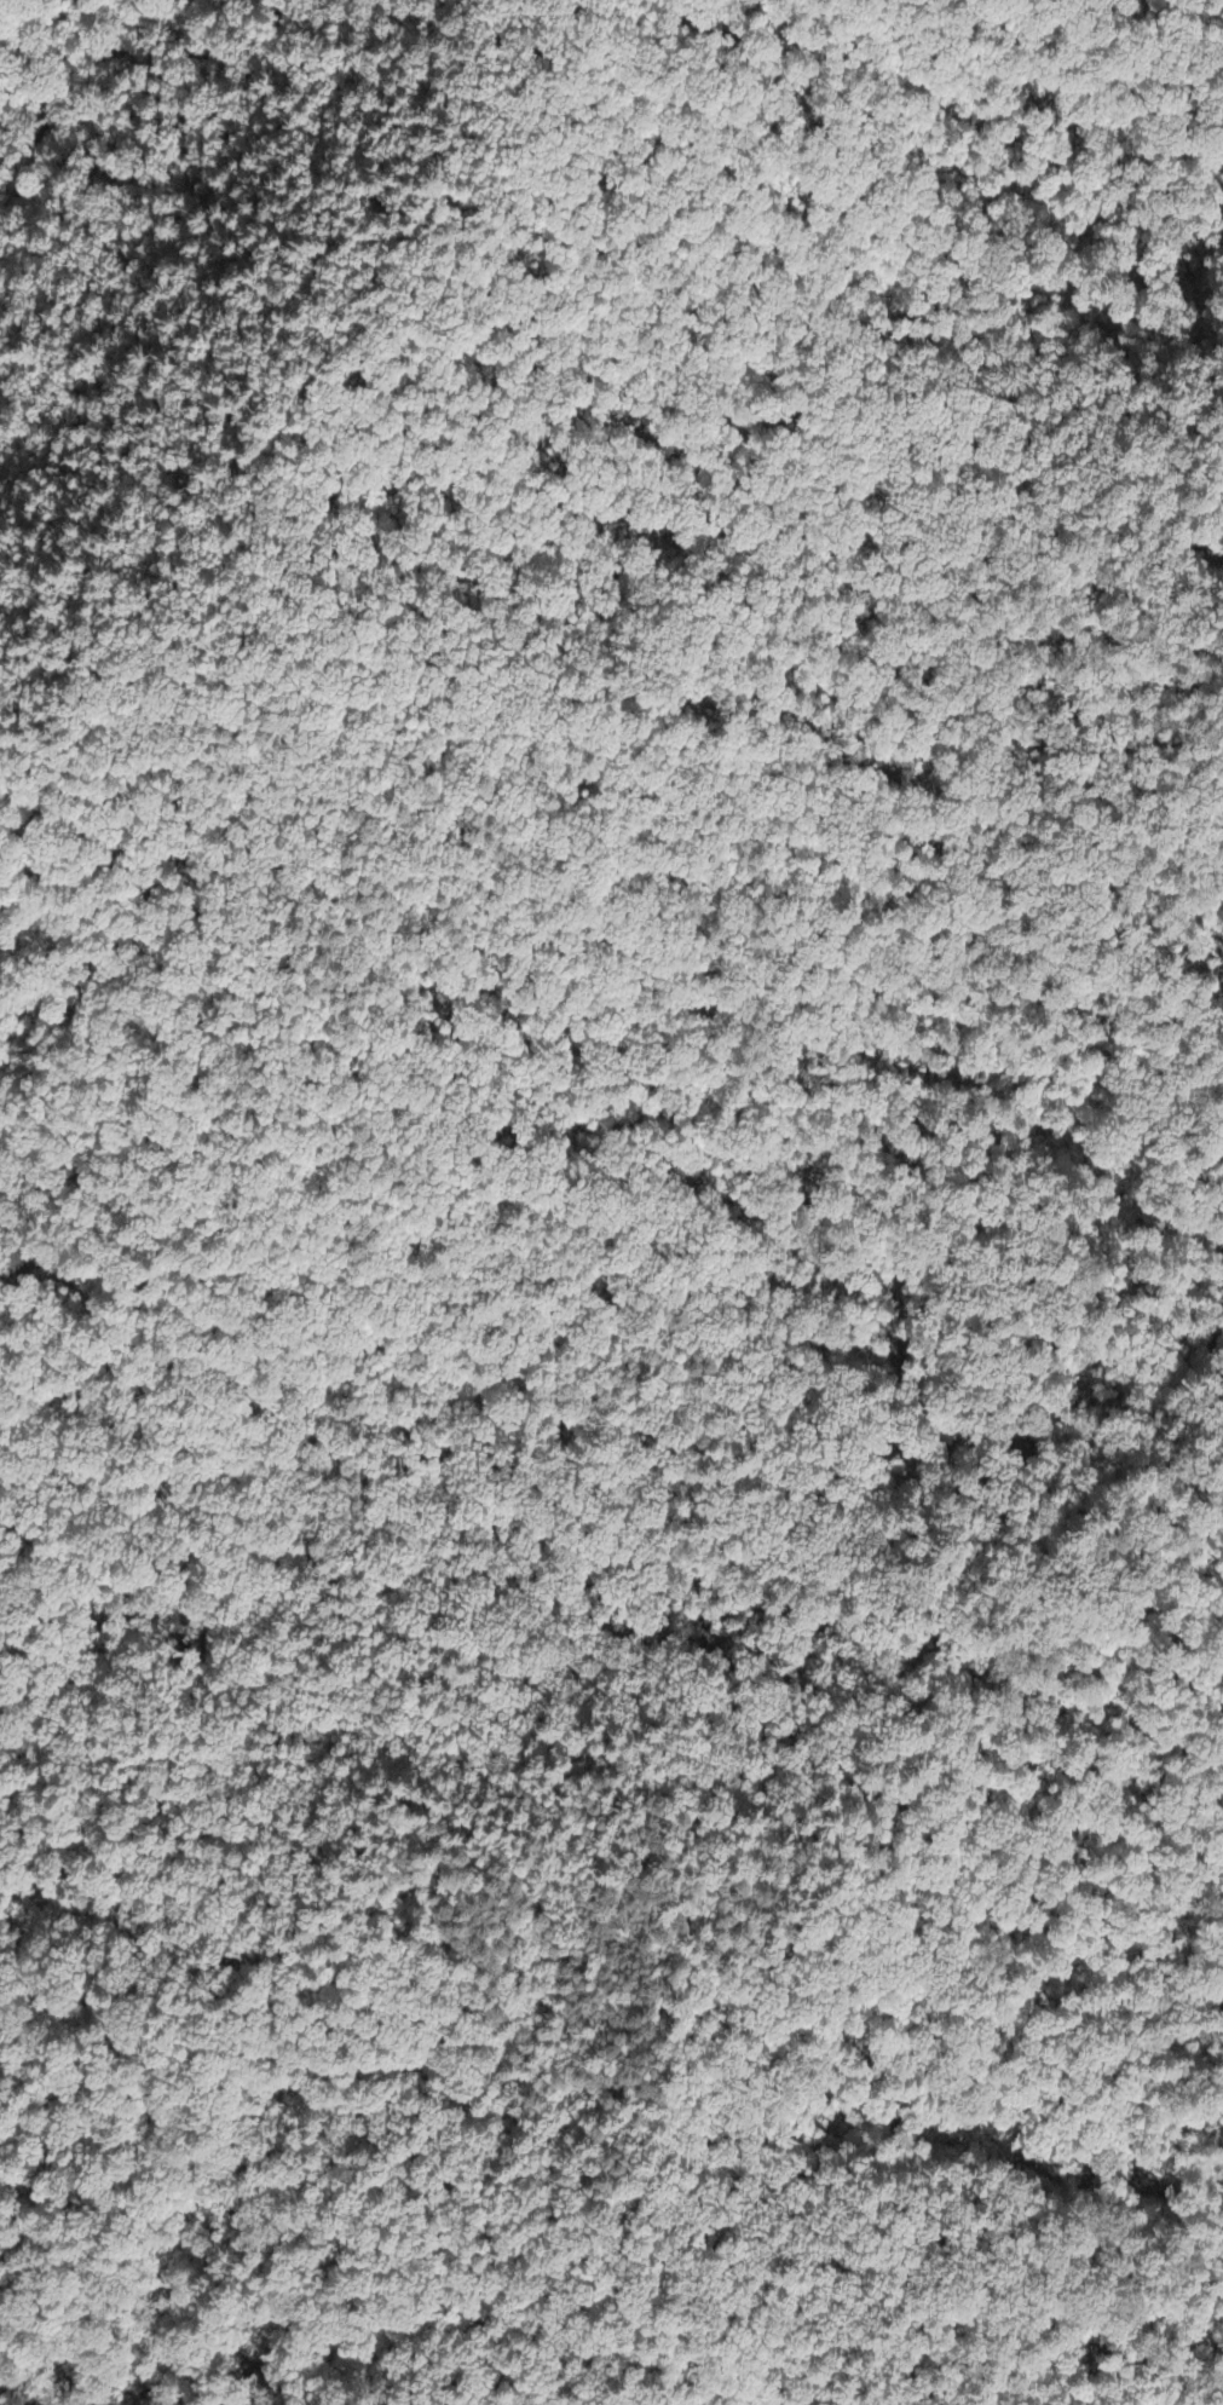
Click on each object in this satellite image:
road: (1221, 2302)

